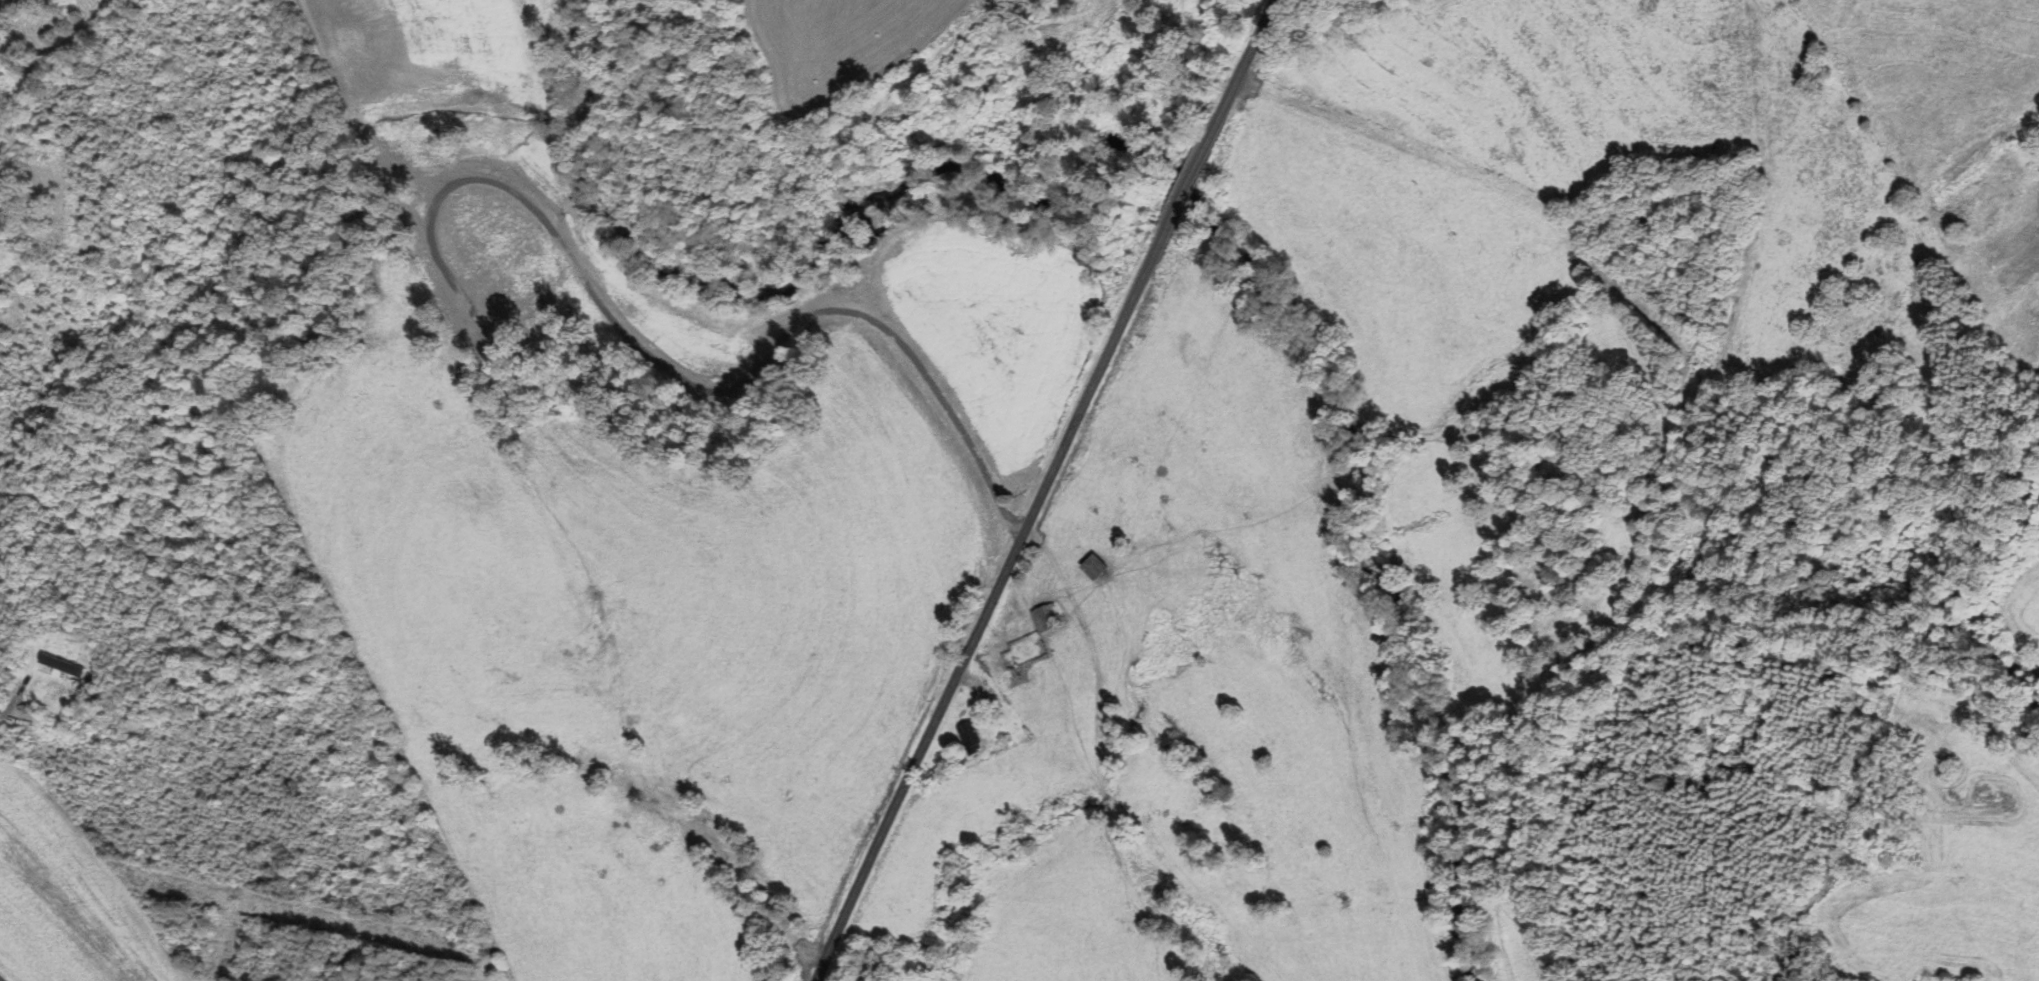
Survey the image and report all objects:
road: (1239, 73)
road: (1186, 187)
building: (2, 198)
building: (1099, 566)
road: (992, 605)
building: (1047, 617)
road: (17, 694)
building: (971, 736)

